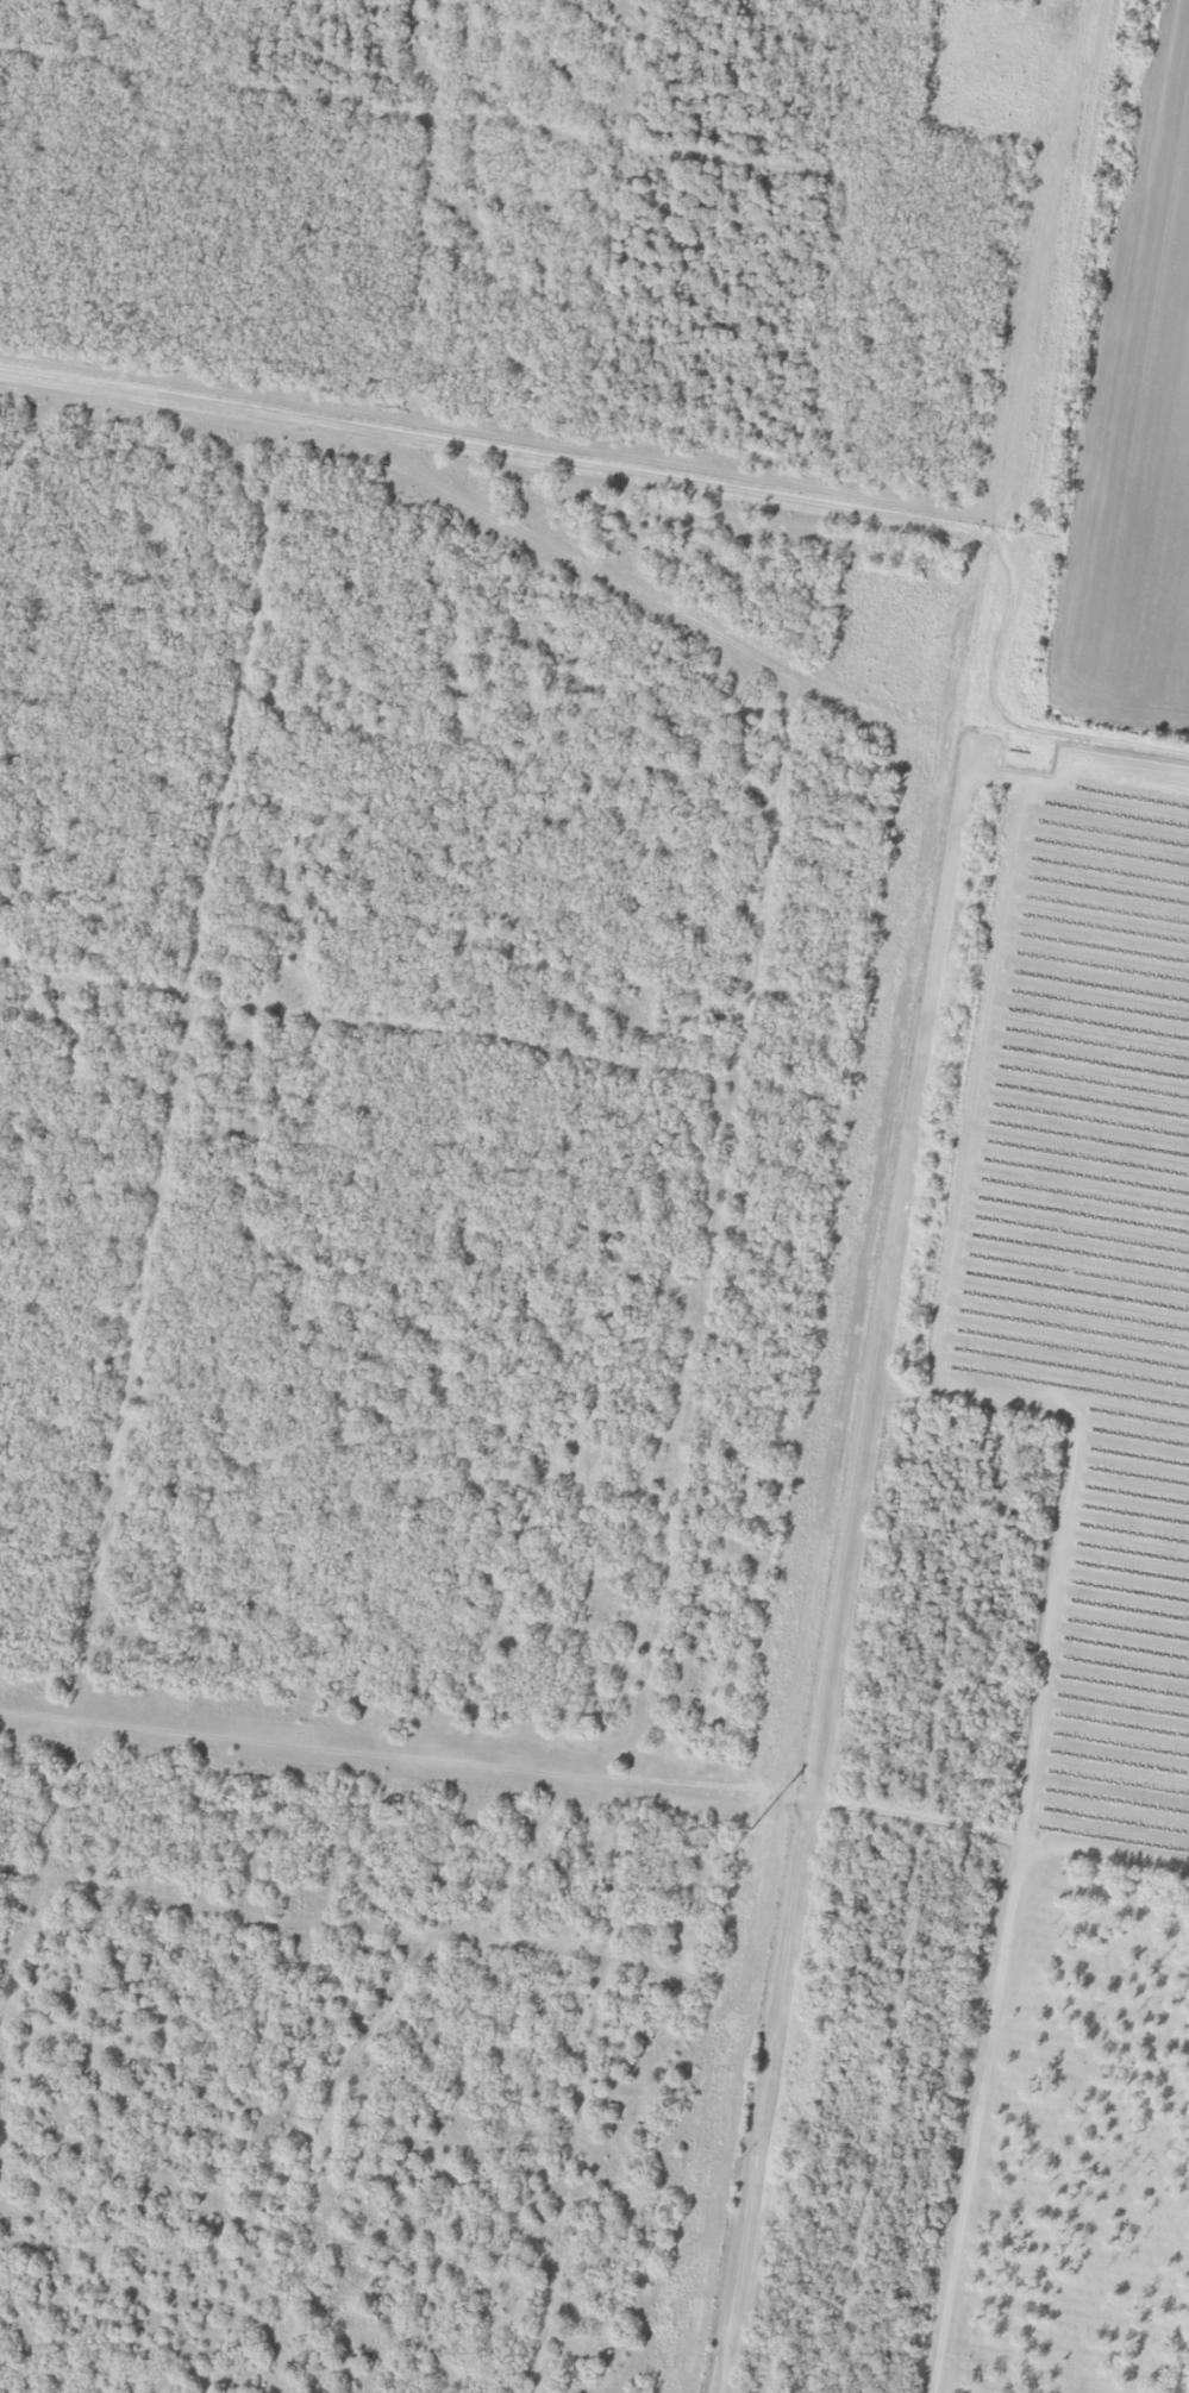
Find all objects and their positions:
railway: (928, 1196)
road: (866, 1197)

